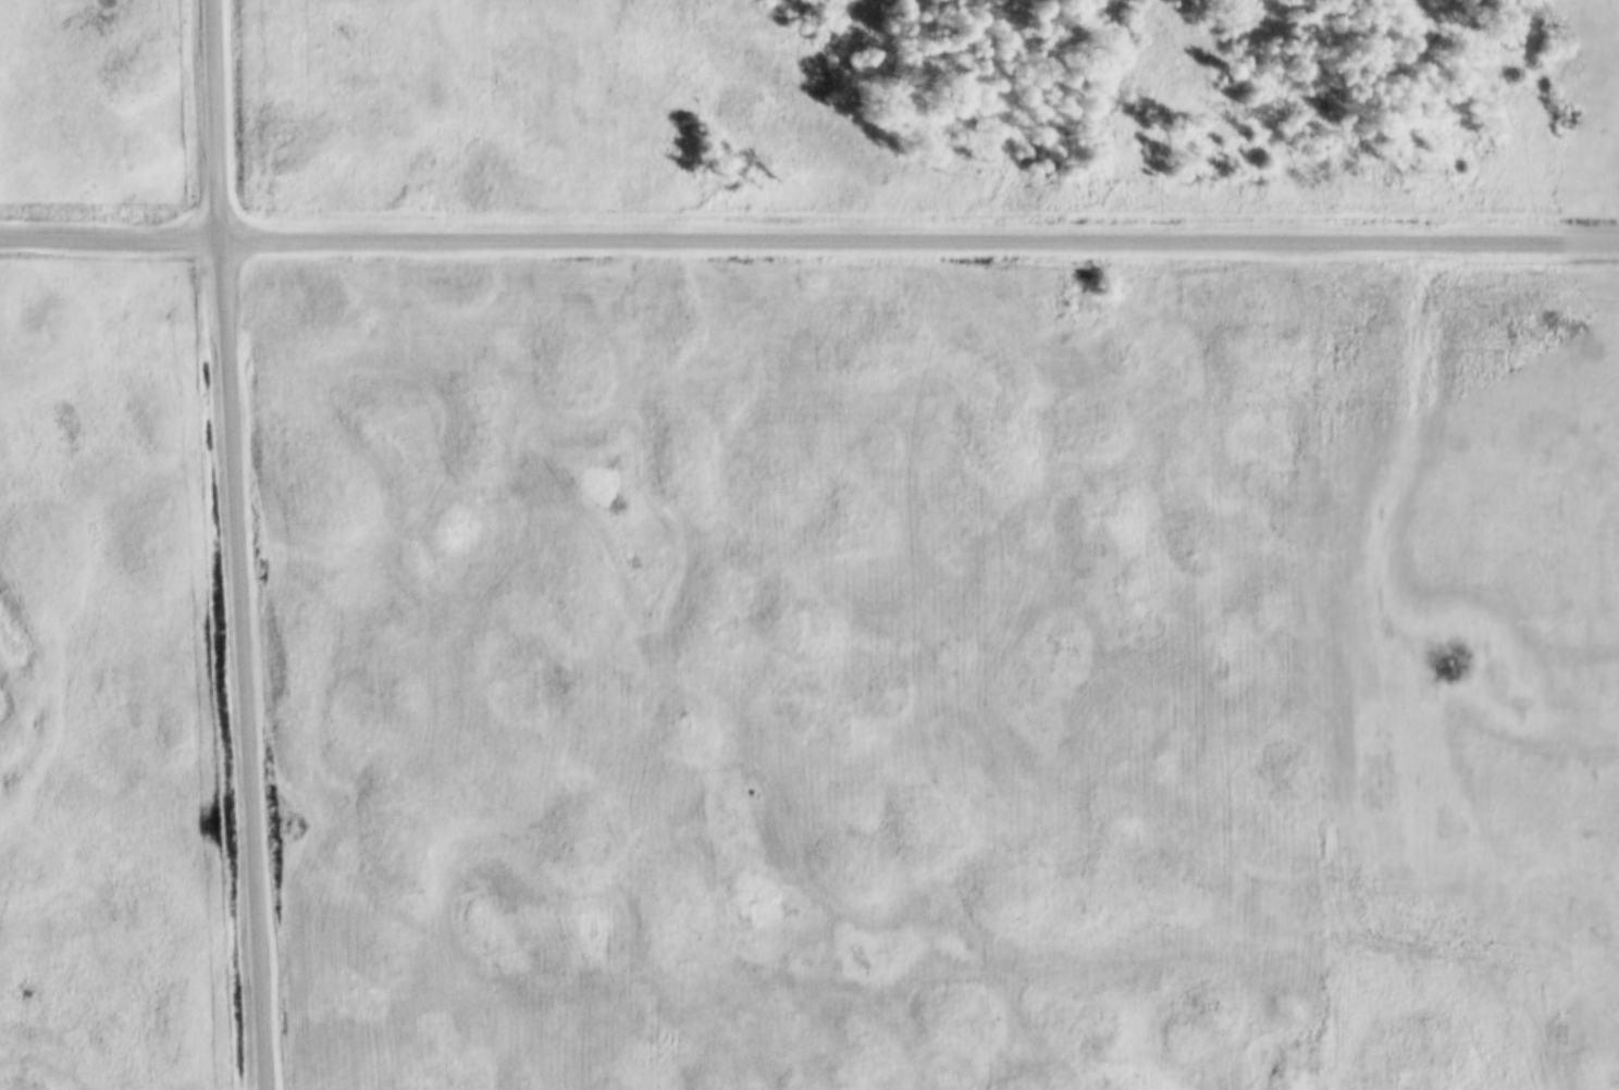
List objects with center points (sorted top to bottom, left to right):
road: (808, 241)
road: (240, 545)

